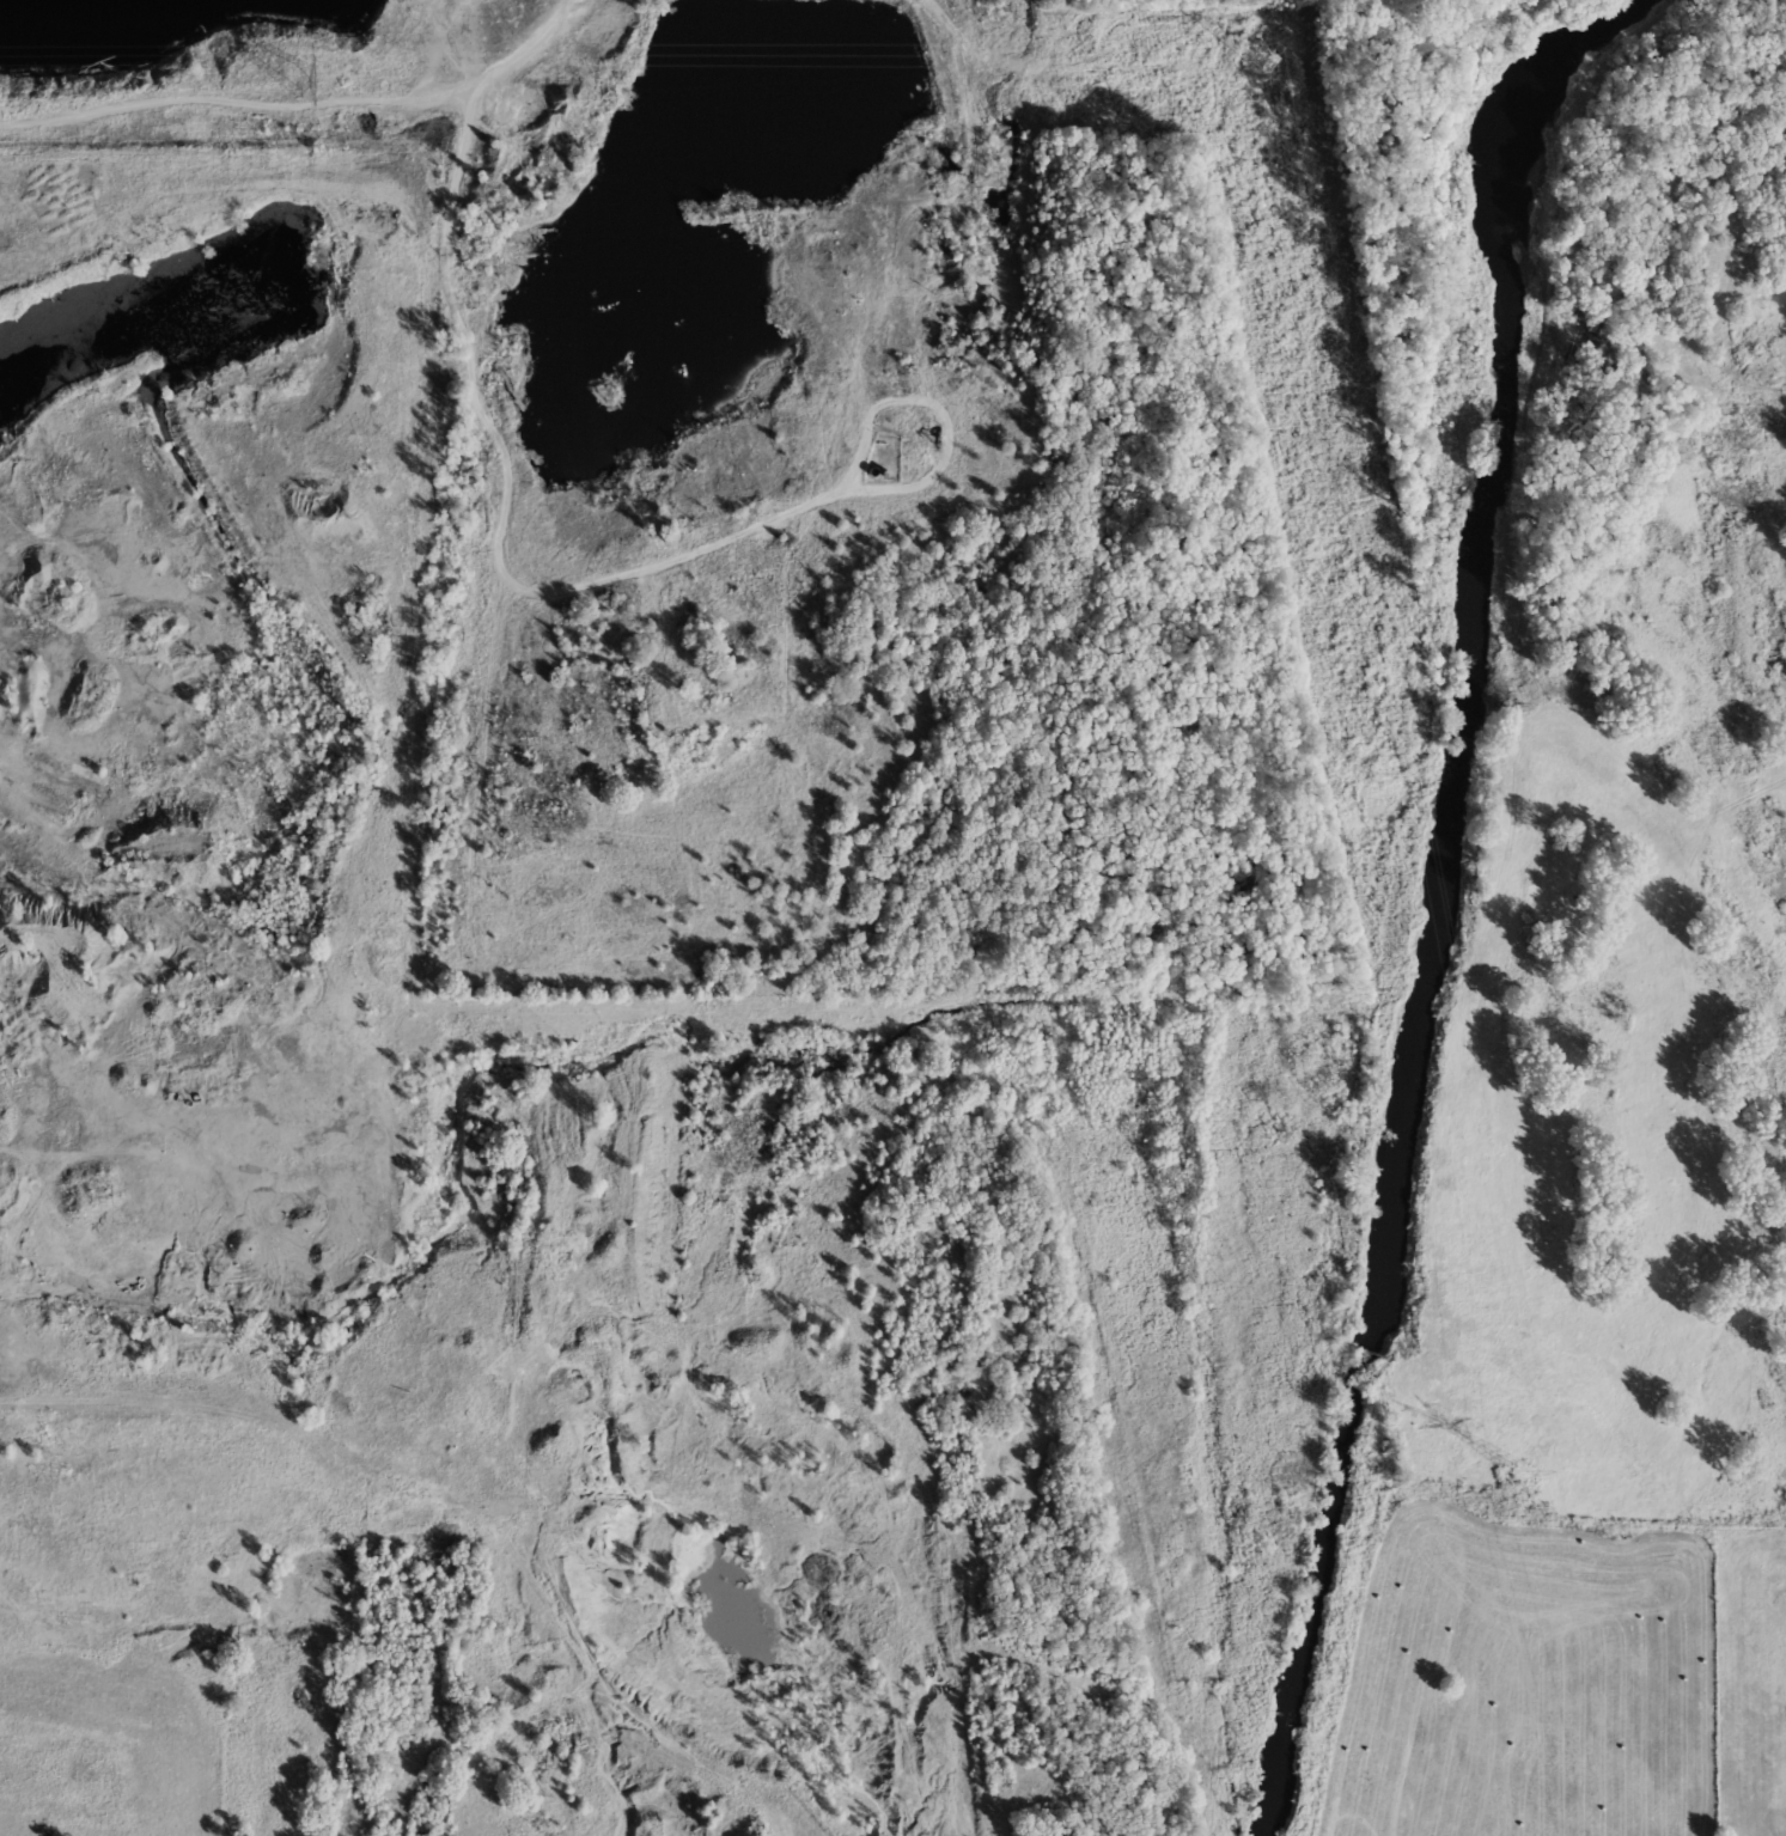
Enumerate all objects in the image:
power tower: (1260, 59)
power tower: (304, 80)
road: (306, 104)
power tower: (1383, 776)
power tower: (1520, 1470)
road: (470, 1509)

